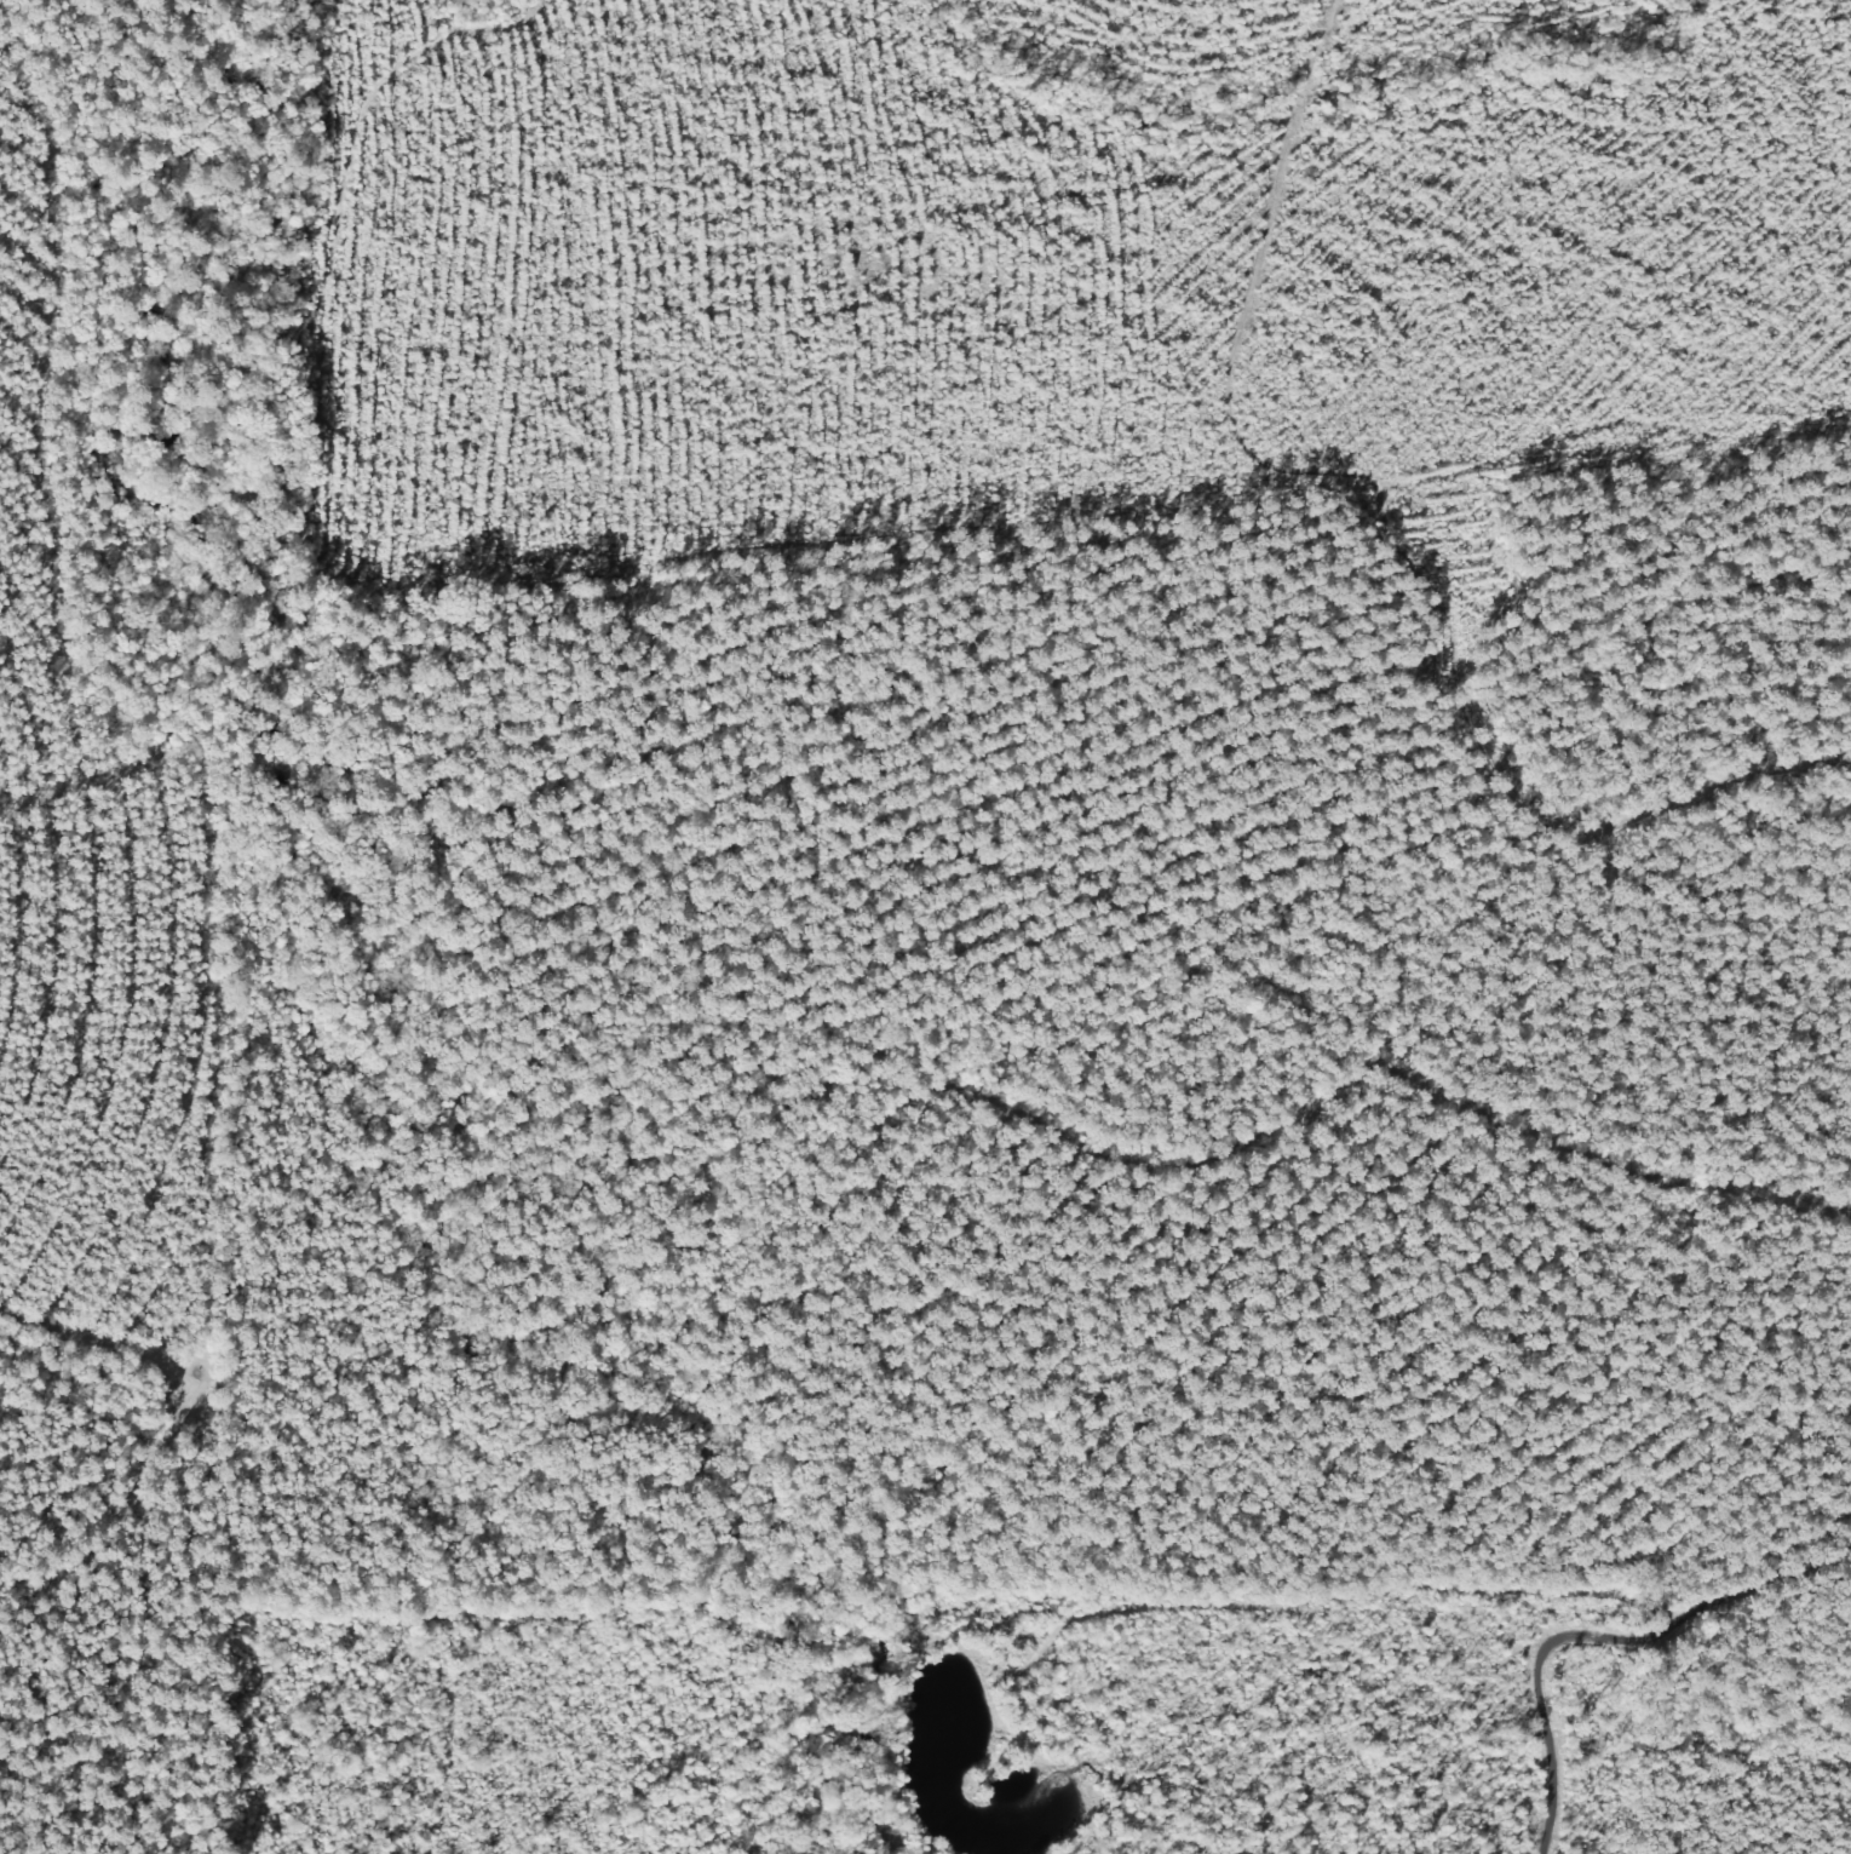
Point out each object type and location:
road: (1692, 1190)

